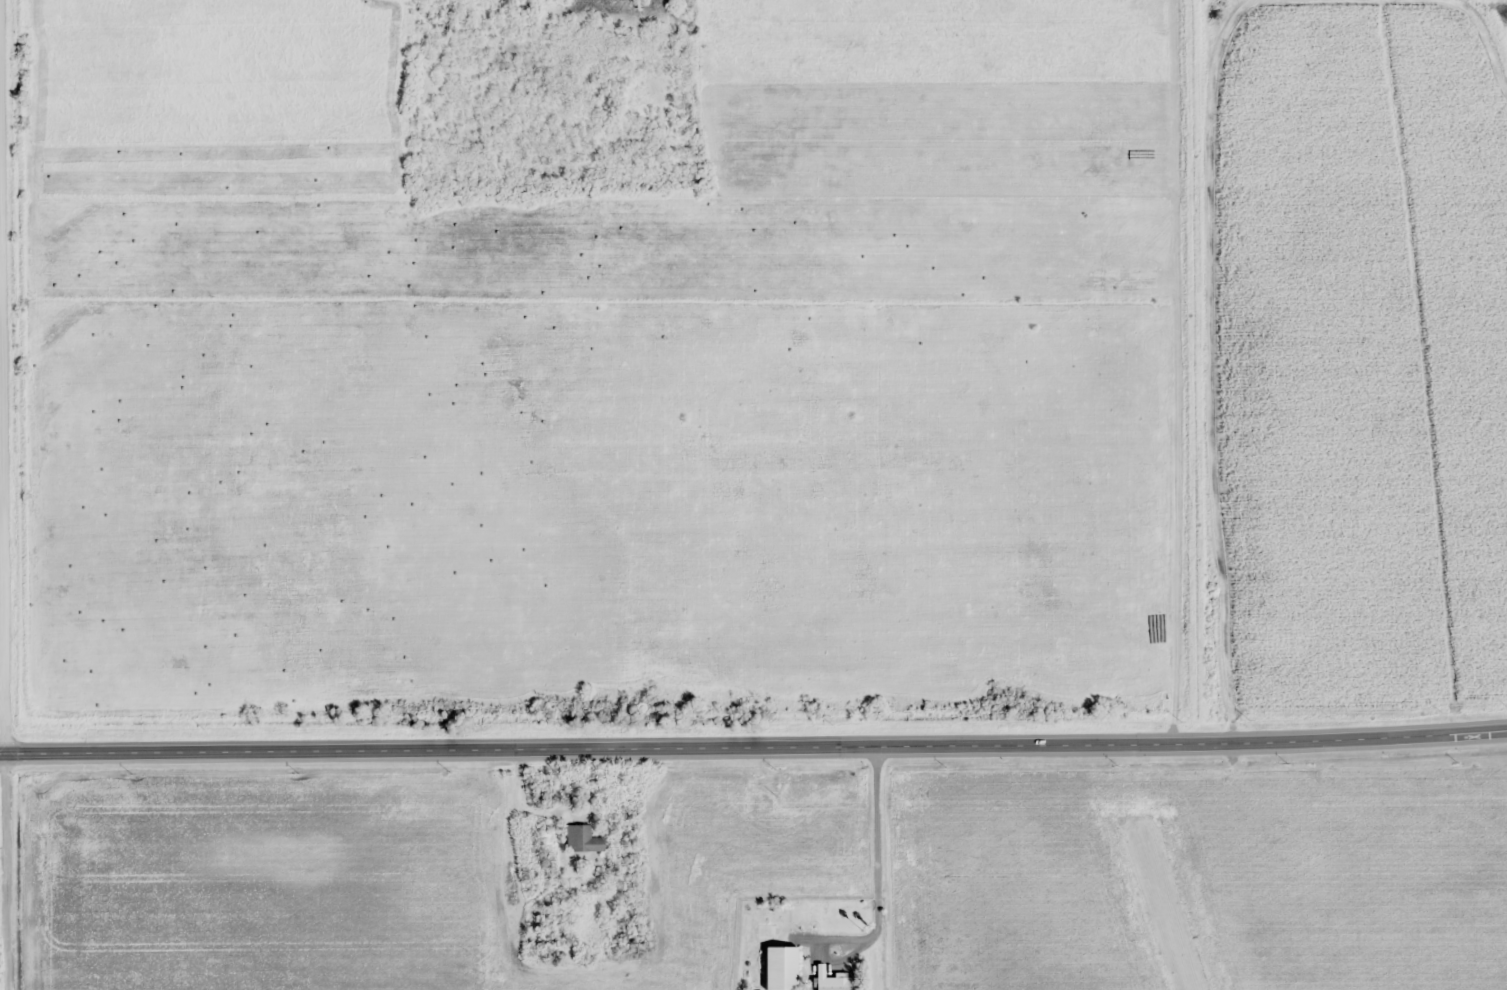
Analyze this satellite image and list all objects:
road: (5, 505)
road: (753, 745)
building: (582, 839)
airport runway: (1169, 900)
building: (779, 968)
building: (830, 980)

